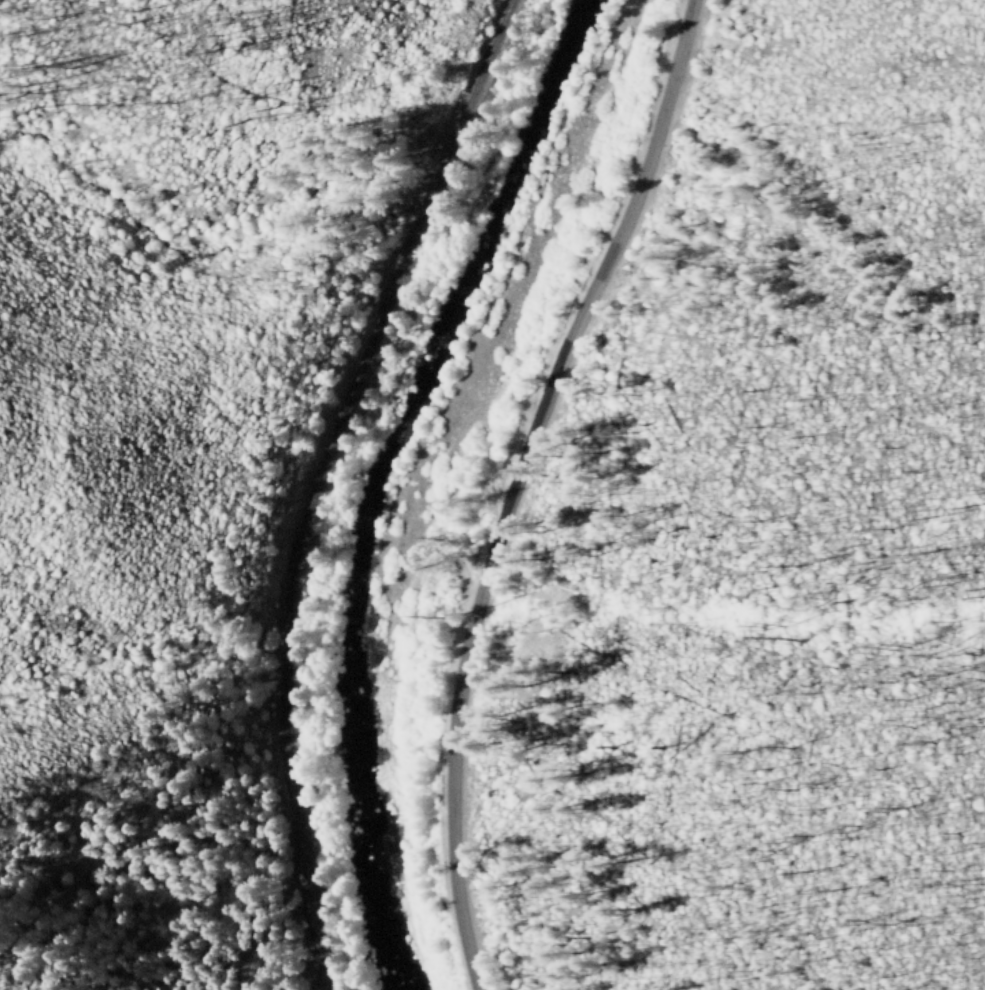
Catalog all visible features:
railway: (317, 480)
road: (530, 487)

